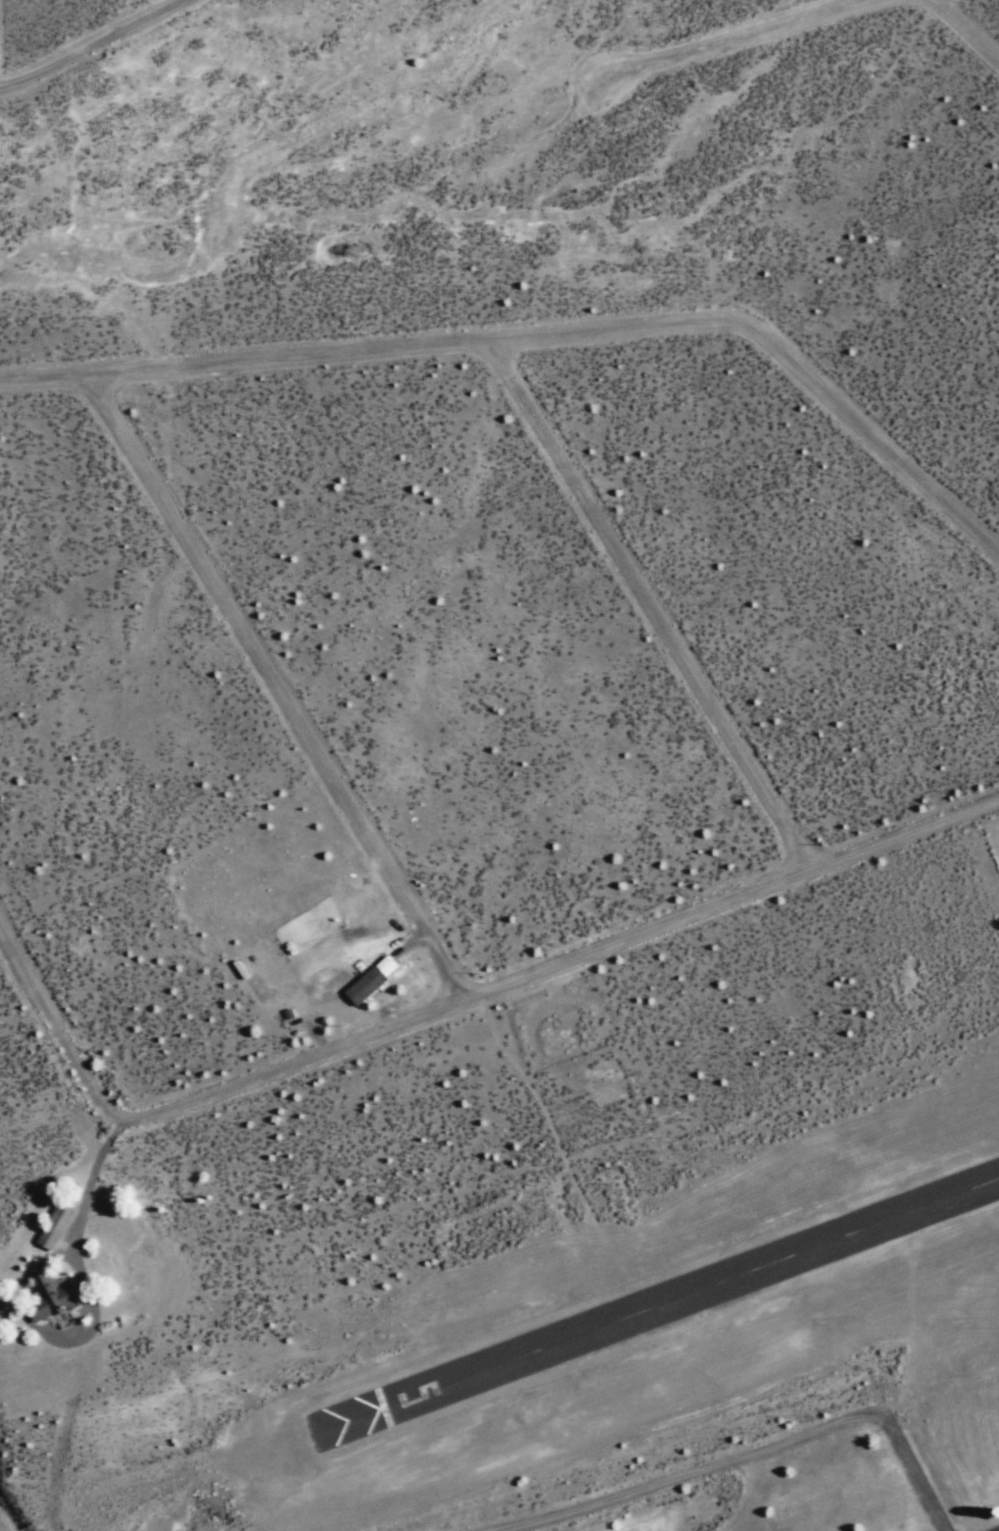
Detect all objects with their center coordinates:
road: (964, 28)
road: (753, 38)
road: (99, 47)
road: (541, 343)
road: (657, 608)
road: (276, 688)
building: (372, 981)
road: (456, 1002)
building: (56, 1228)
building: (50, 1299)
airport runway: (654, 1309)
road: (759, 1454)

